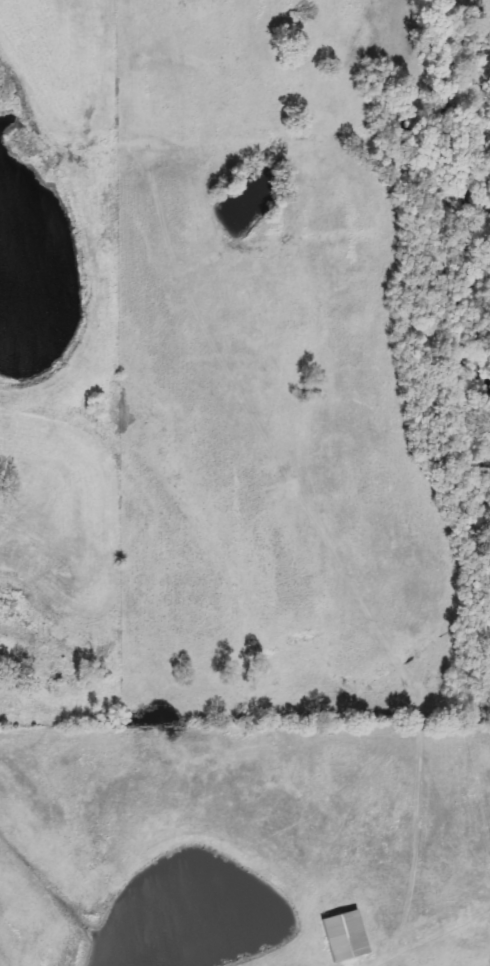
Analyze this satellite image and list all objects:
building: (342, 936)

